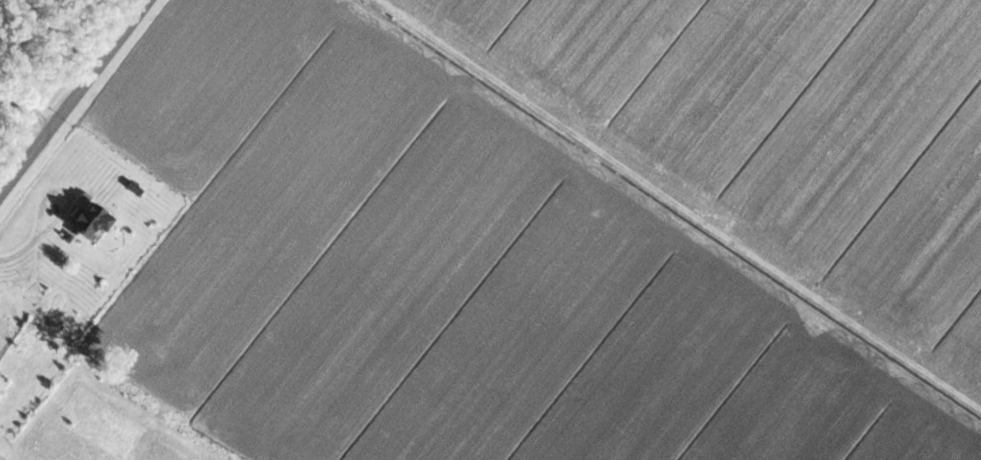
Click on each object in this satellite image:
road: (72, 98)
building: (88, 219)
building: (0, 459)

